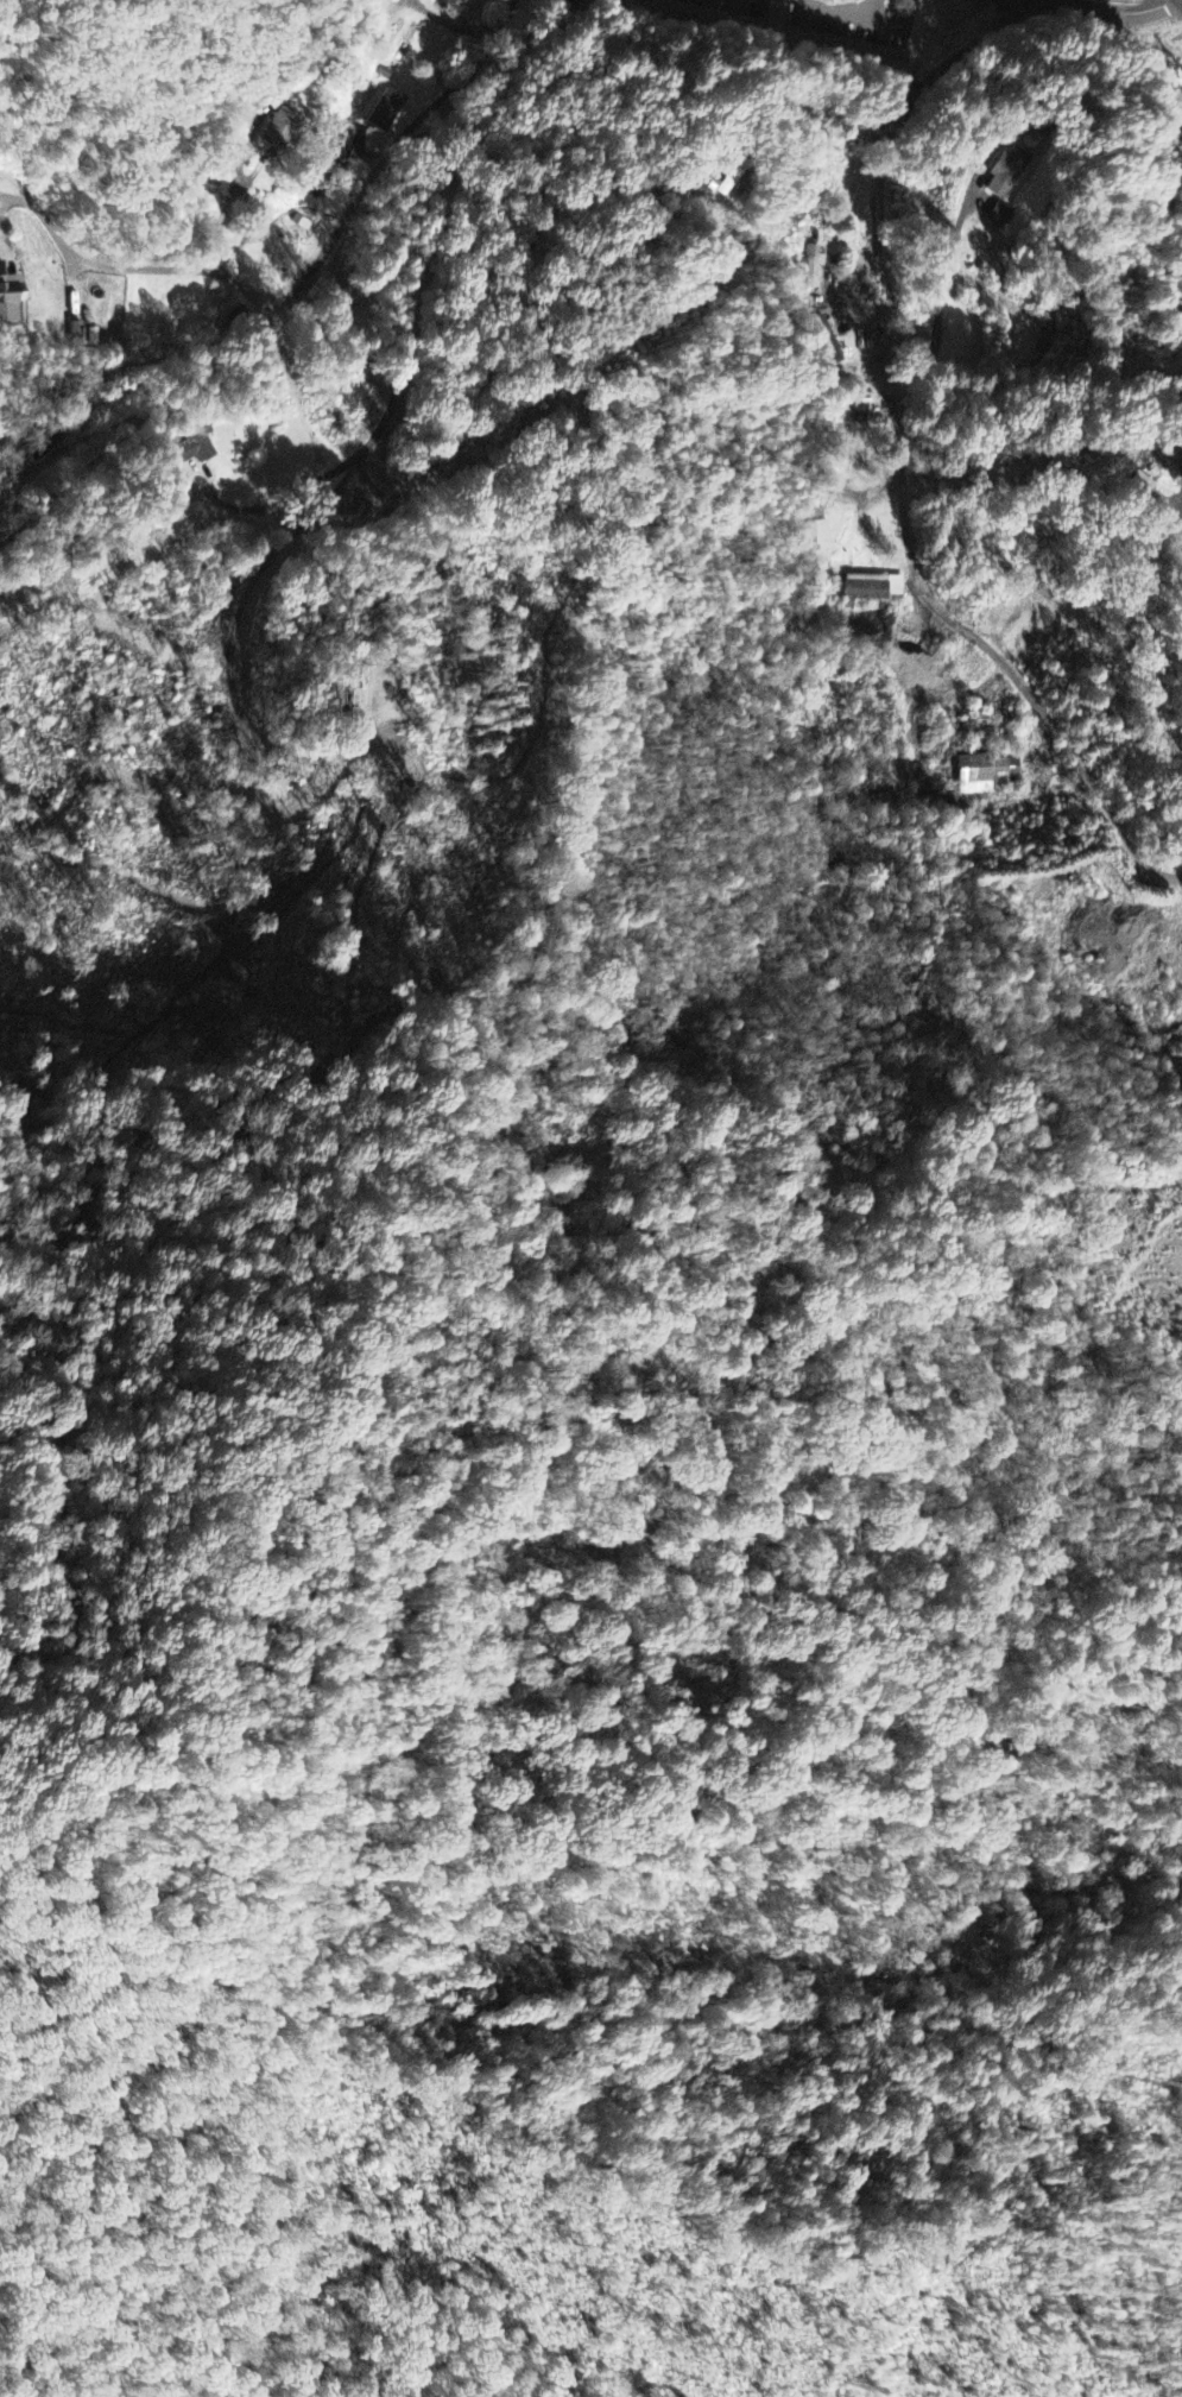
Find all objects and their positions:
road: (1099, 12)
building: (776, 20)
building: (876, 56)
building: (386, 112)
building: (279, 131)
building: (1006, 174)
building: (727, 182)
building: (1000, 217)
road: (127, 267)
building: (815, 270)
building: (8, 298)
road: (291, 302)
building: (192, 447)
road: (908, 467)
road: (366, 485)
building: (1134, 487)
building: (817, 538)
building: (874, 588)
road: (965, 699)
building: (985, 774)

